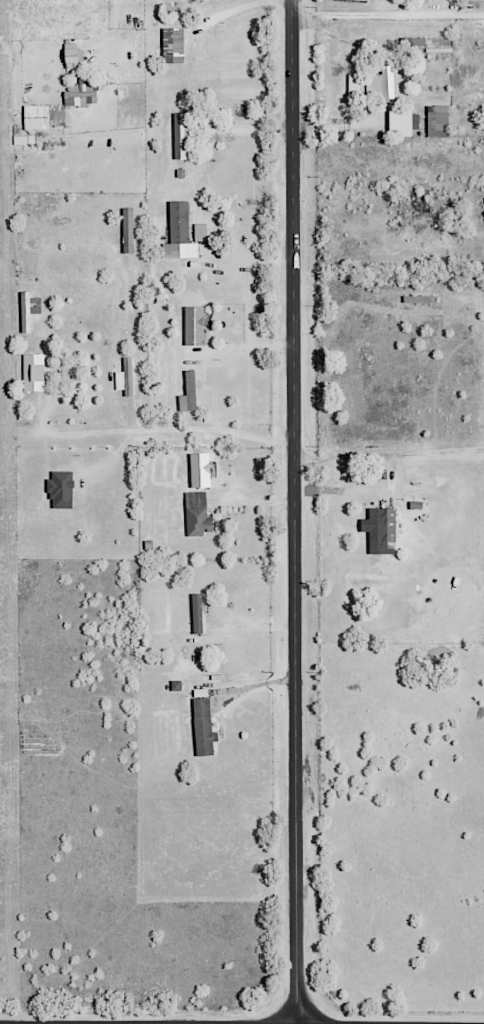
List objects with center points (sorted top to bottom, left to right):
power tower: (364, 1)
road: (239, 8)
road: (388, 16)
road: (112, 30)
building: (172, 45)
building: (72, 57)
building: (381, 80)
building: (352, 84)
building: (81, 94)
building: (43, 116)
building: (437, 121)
building: (402, 123)
road: (245, 131)
building: (179, 135)
building: (127, 230)
building: (199, 232)
building: (178, 233)
building: (27, 310)
building: (193, 325)
road: (250, 345)
building: (32, 372)
building: (124, 378)
building: (187, 392)
road: (157, 429)
road: (385, 453)
building: (199, 470)
building: (60, 490)
road: (292, 512)
building: (196, 514)
building: (381, 530)
building: (196, 613)
building: (202, 727)

